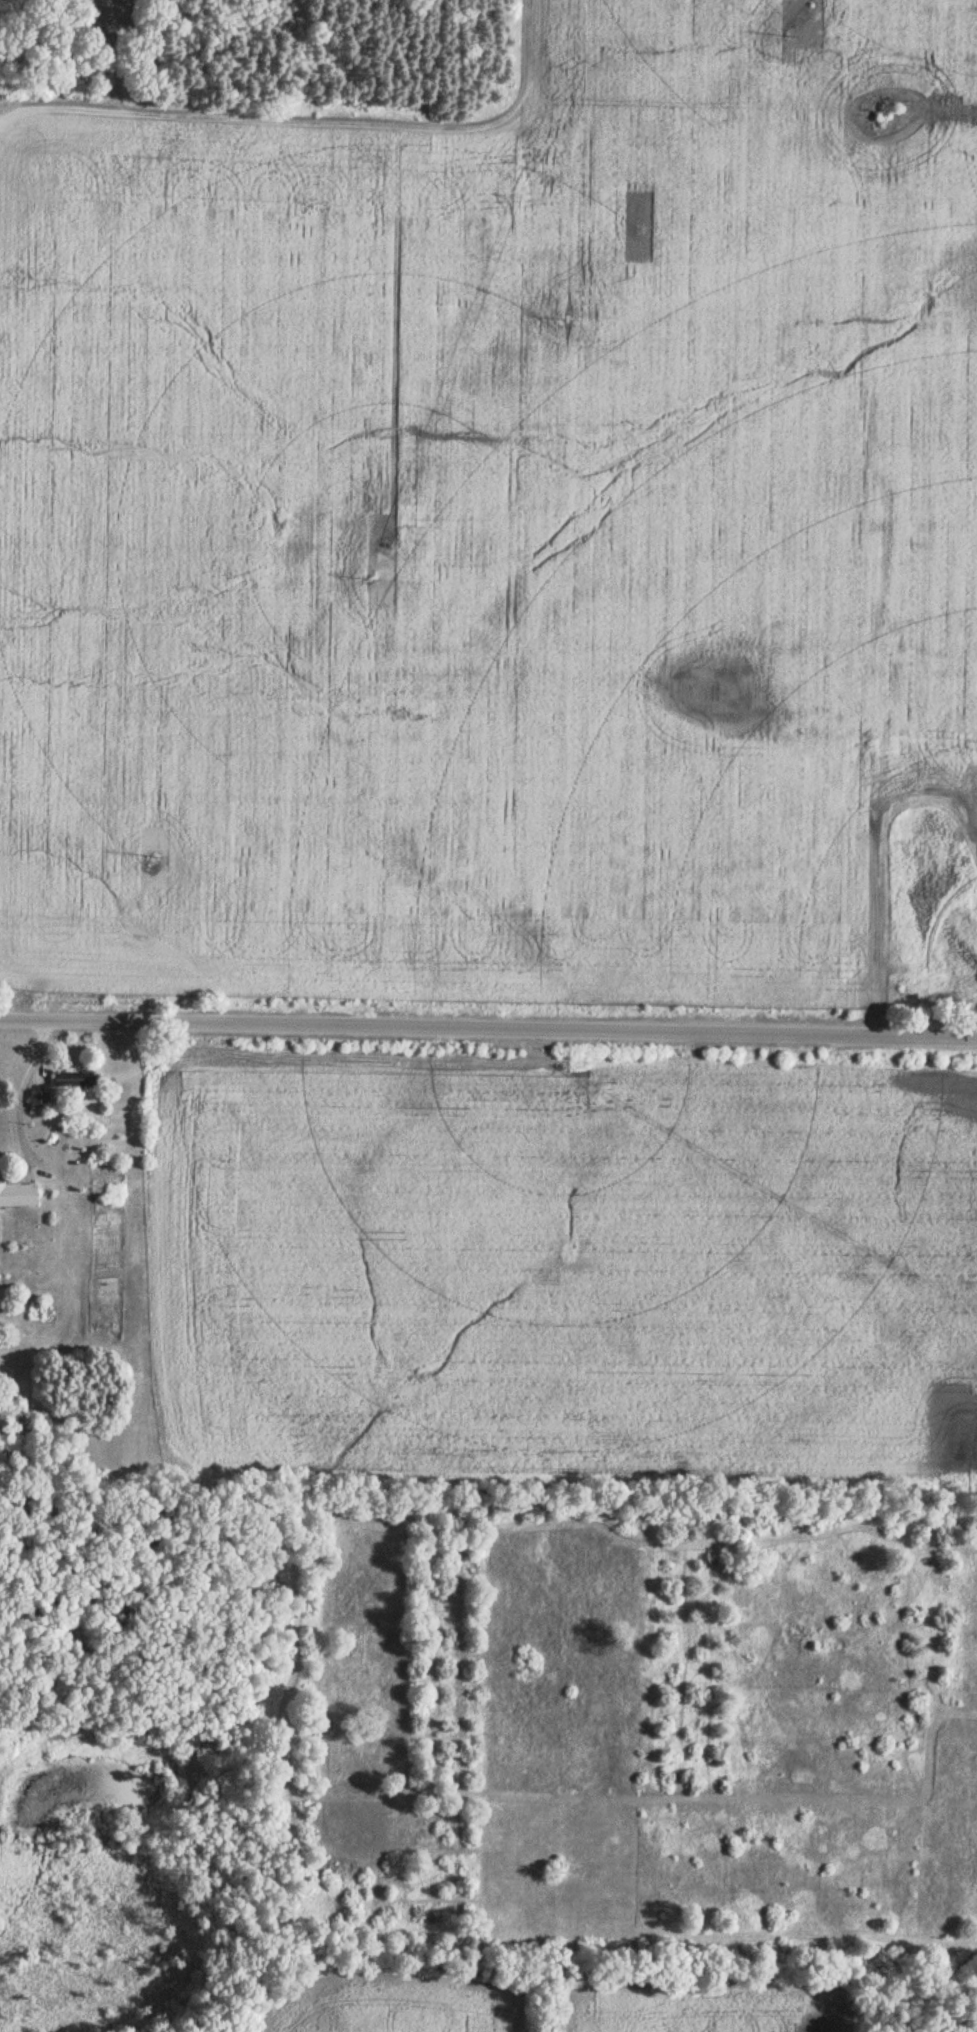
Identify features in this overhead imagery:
power tower: (797, 23)
road: (316, 120)
power tower: (568, 321)
power tower: (366, 579)
power tower: (159, 856)
road: (488, 1031)
building: (74, 1081)
building: (38, 1101)
building: (17, 1196)

